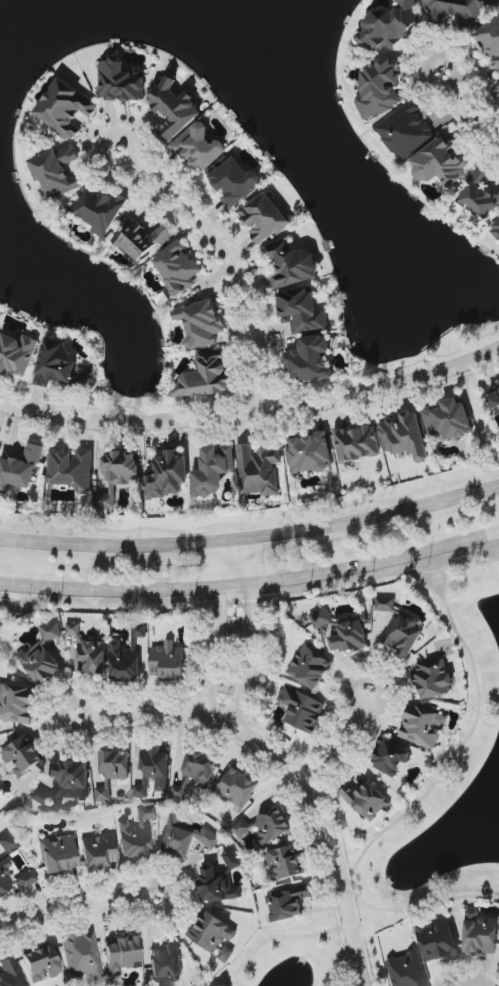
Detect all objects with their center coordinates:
building: (458, 11)
building: (389, 26)
building: (490, 42)
road: (439, 54)
building: (120, 82)
building: (380, 89)
building: (496, 97)
building: (65, 108)
building: (175, 109)
road: (473, 119)
building: (405, 131)
building: (199, 148)
building: (440, 162)
building: (56, 171)
building: (235, 181)
building: (479, 196)
building: (99, 209)
building: (498, 217)
building: (264, 218)
road: (208, 229)
building: (140, 240)
building: (291, 264)
building: (178, 268)
building: (302, 311)
building: (200, 323)
building: (16, 354)
building: (310, 360)
building: (59, 365)
building: (206, 377)
building: (494, 401)
road: (252, 414)
building: (449, 419)
building: (405, 436)
building: (357, 444)
building: (310, 454)
building: (20, 469)
building: (73, 470)
building: (213, 470)
building: (258, 470)
building: (167, 475)
building: (118, 476)
road: (402, 512)
road: (260, 537)
road: (107, 546)
road: (371, 580)
road: (448, 583)
road: (252, 584)
building: (399, 628)
road: (218, 630)
building: (344, 630)
road: (251, 633)
building: (89, 652)
building: (42, 656)
building: (128, 656)
building: (168, 661)
building: (311, 667)
building: (433, 678)
building: (17, 704)
building: (302, 710)
building: (423, 726)
road: (471, 736)
road: (343, 744)
building: (23, 755)
building: (390, 758)
building: (115, 765)
building: (200, 768)
road: (290, 771)
building: (153, 773)
building: (67, 781)
building: (236, 787)
building: (180, 790)
building: (102, 794)
building: (366, 801)
building: (265, 827)
building: (136, 835)
building: (184, 838)
building: (6, 843)
building: (99, 853)
building: (59, 855)
building: (232, 860)
building: (284, 863)
building: (29, 875)
road: (351, 876)
building: (216, 886)
building: (287, 903)
road: (428, 905)
road: (78, 906)
road: (327, 908)
building: (480, 934)
building: (214, 936)
road: (273, 939)
building: (438, 942)
road: (340, 946)
building: (81, 955)
building: (122, 955)
building: (167, 963)
building: (41, 965)
building: (407, 971)
building: (11, 973)

